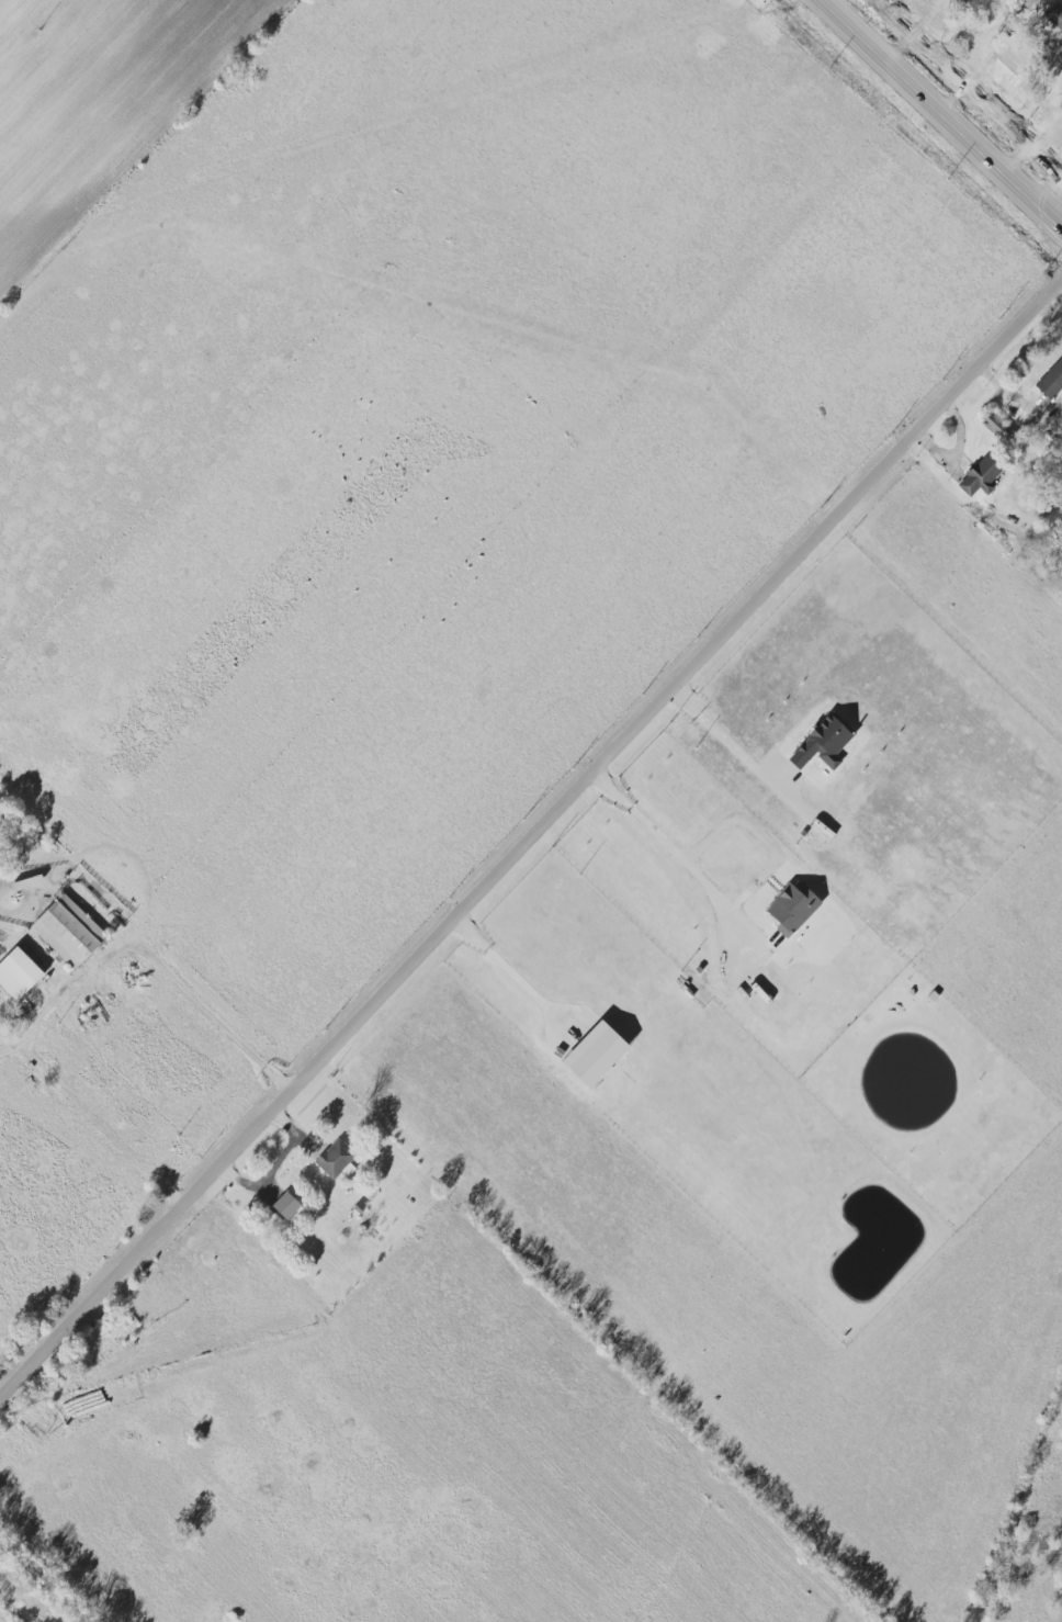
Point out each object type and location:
building: (1054, 14)
road: (914, 29)
building: (999, 72)
road: (942, 110)
road: (145, 148)
building: (1051, 381)
building: (997, 426)
building: (981, 475)
road: (725, 736)
building: (822, 744)
road: (756, 834)
road: (531, 840)
road: (673, 851)
building: (792, 908)
building: (68, 931)
road: (152, 950)
road: (510, 970)
building: (18, 973)
building: (595, 1055)
building: (336, 1159)
building: (285, 1206)

